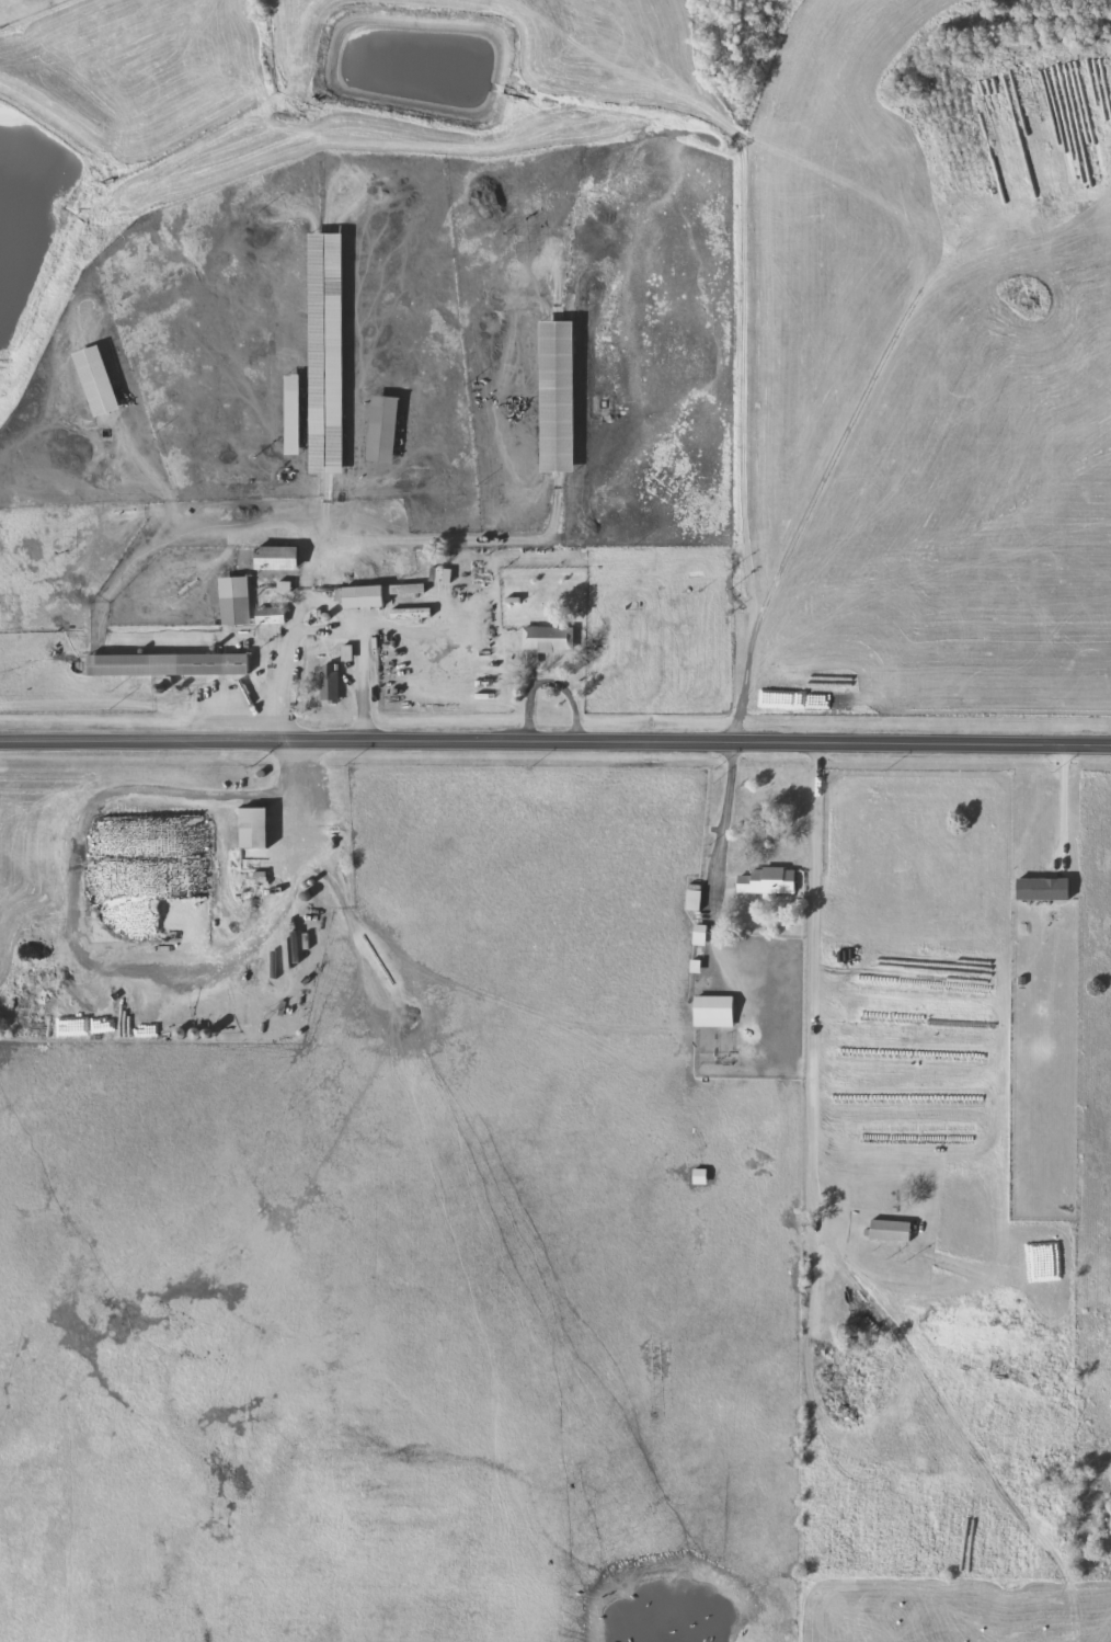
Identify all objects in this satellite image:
building: (329, 353)
building: (99, 380)
building: (560, 396)
building: (294, 415)
building: (385, 429)
road: (829, 458)
building: (277, 556)
building: (408, 586)
building: (364, 594)
building: (234, 598)
building: (272, 613)
road: (321, 627)
building: (546, 639)
building: (171, 662)
building: (330, 681)
road: (547, 681)
road: (554, 745)
road: (305, 801)
road: (1061, 806)
building: (256, 825)
road: (715, 866)
building: (769, 878)
building: (695, 896)
building: (108, 913)
building: (714, 1010)
road: (808, 1077)
building: (699, 1174)
building: (891, 1228)

